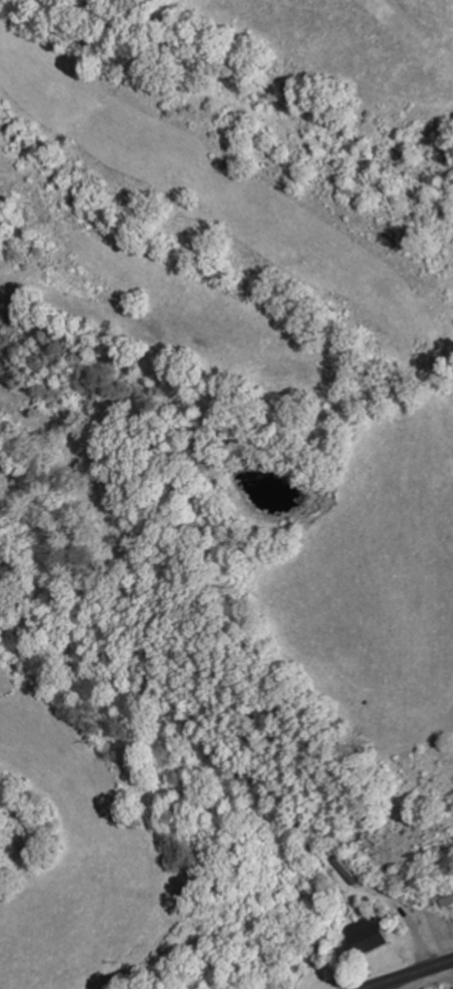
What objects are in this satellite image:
building: (347, 868)
building: (445, 895)
building: (365, 934)
road: (410, 974)

